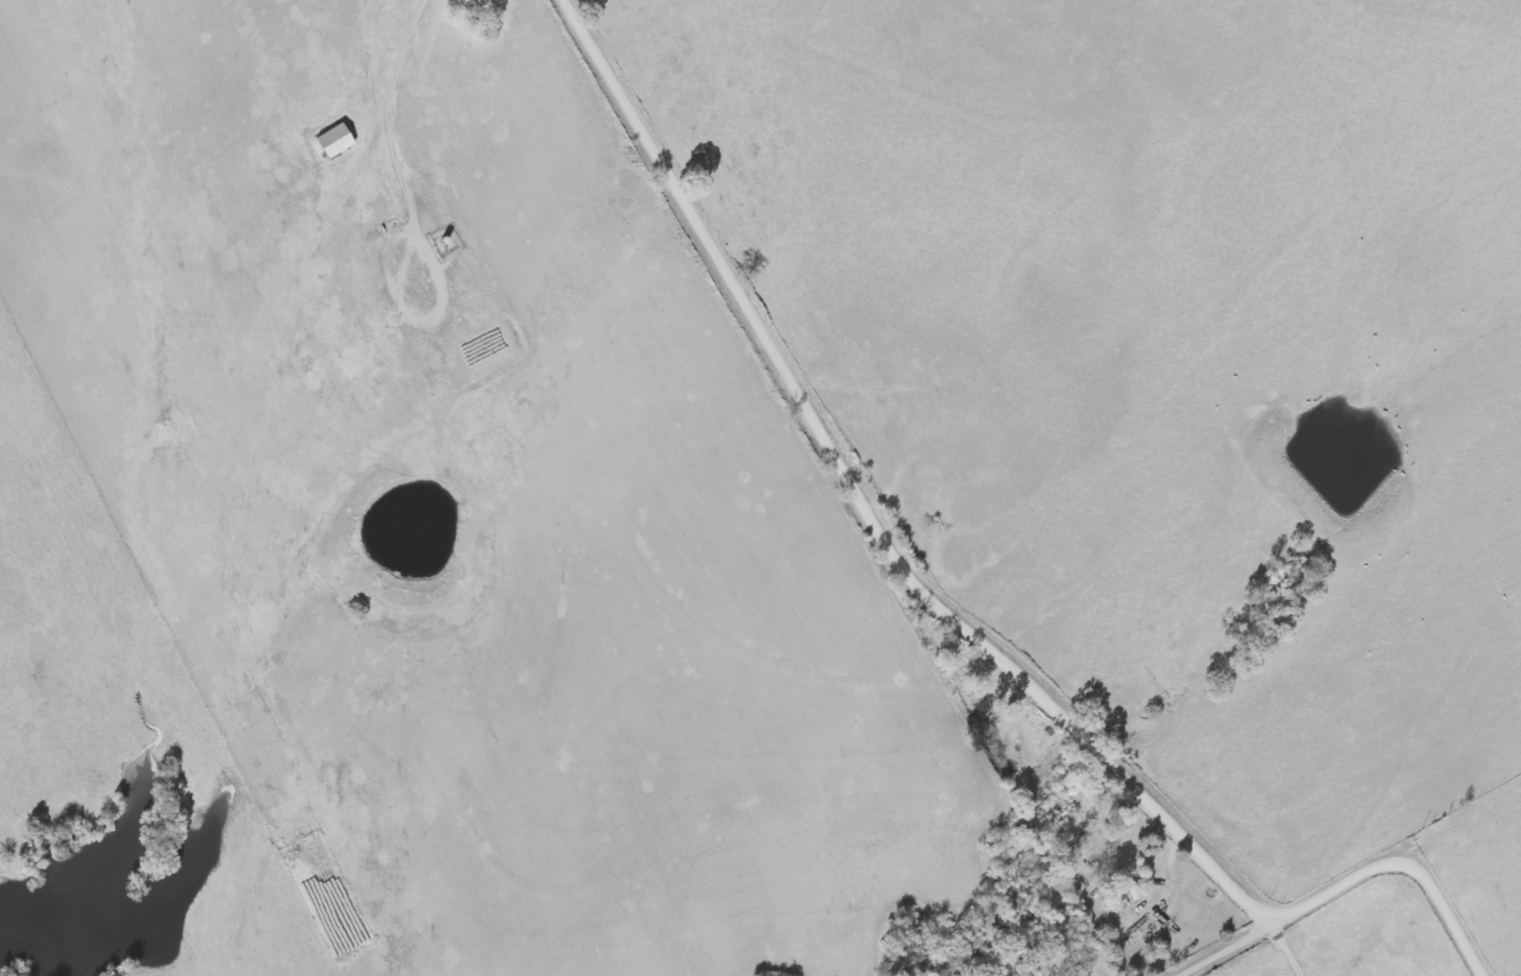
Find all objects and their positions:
building: (333, 143)
road: (865, 505)
road: (1399, 865)
road: (1226, 949)
dam: (191, 964)

